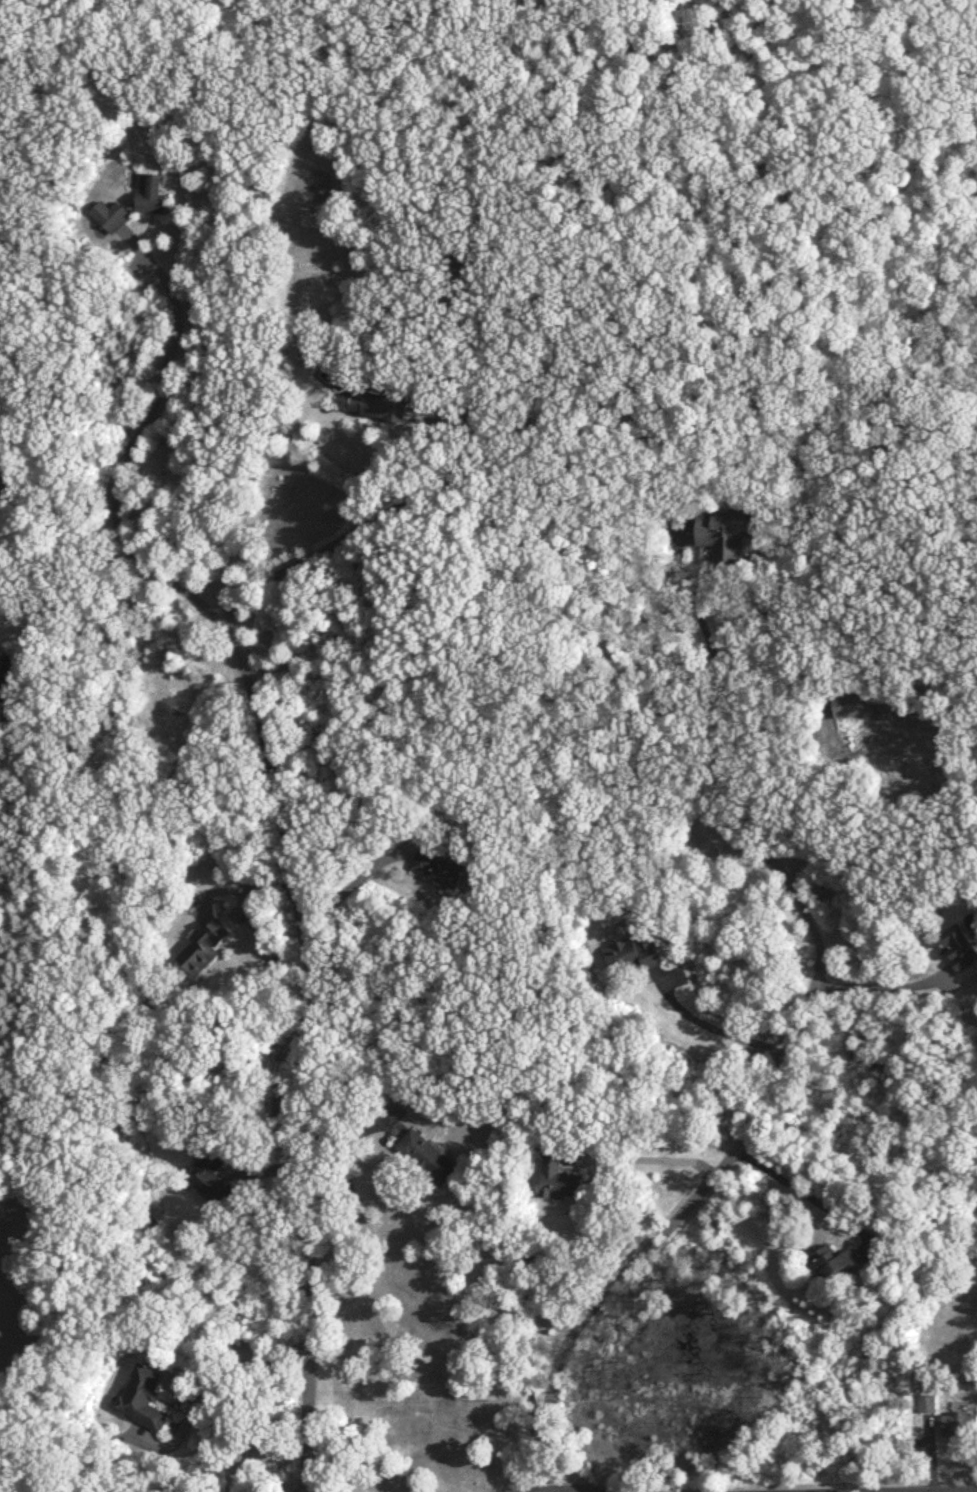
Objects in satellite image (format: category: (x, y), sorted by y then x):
building: (151, 205)
building: (464, 262)
building: (376, 405)
road: (134, 442)
road: (367, 528)
building: (724, 537)
building: (1, 665)
building: (850, 708)
road: (716, 761)
building: (437, 872)
road: (347, 888)
building: (958, 949)
building: (204, 951)
building: (632, 956)
road: (878, 982)
road: (712, 1027)
road: (288, 1051)
road: (343, 1144)
road: (653, 1155)
building: (425, 1159)
building: (557, 1178)
building: (211, 1181)
road: (805, 1188)
road: (664, 1228)
building: (834, 1266)
road: (214, 1389)
building: (142, 1399)
building: (927, 1406)
building: (959, 1427)

